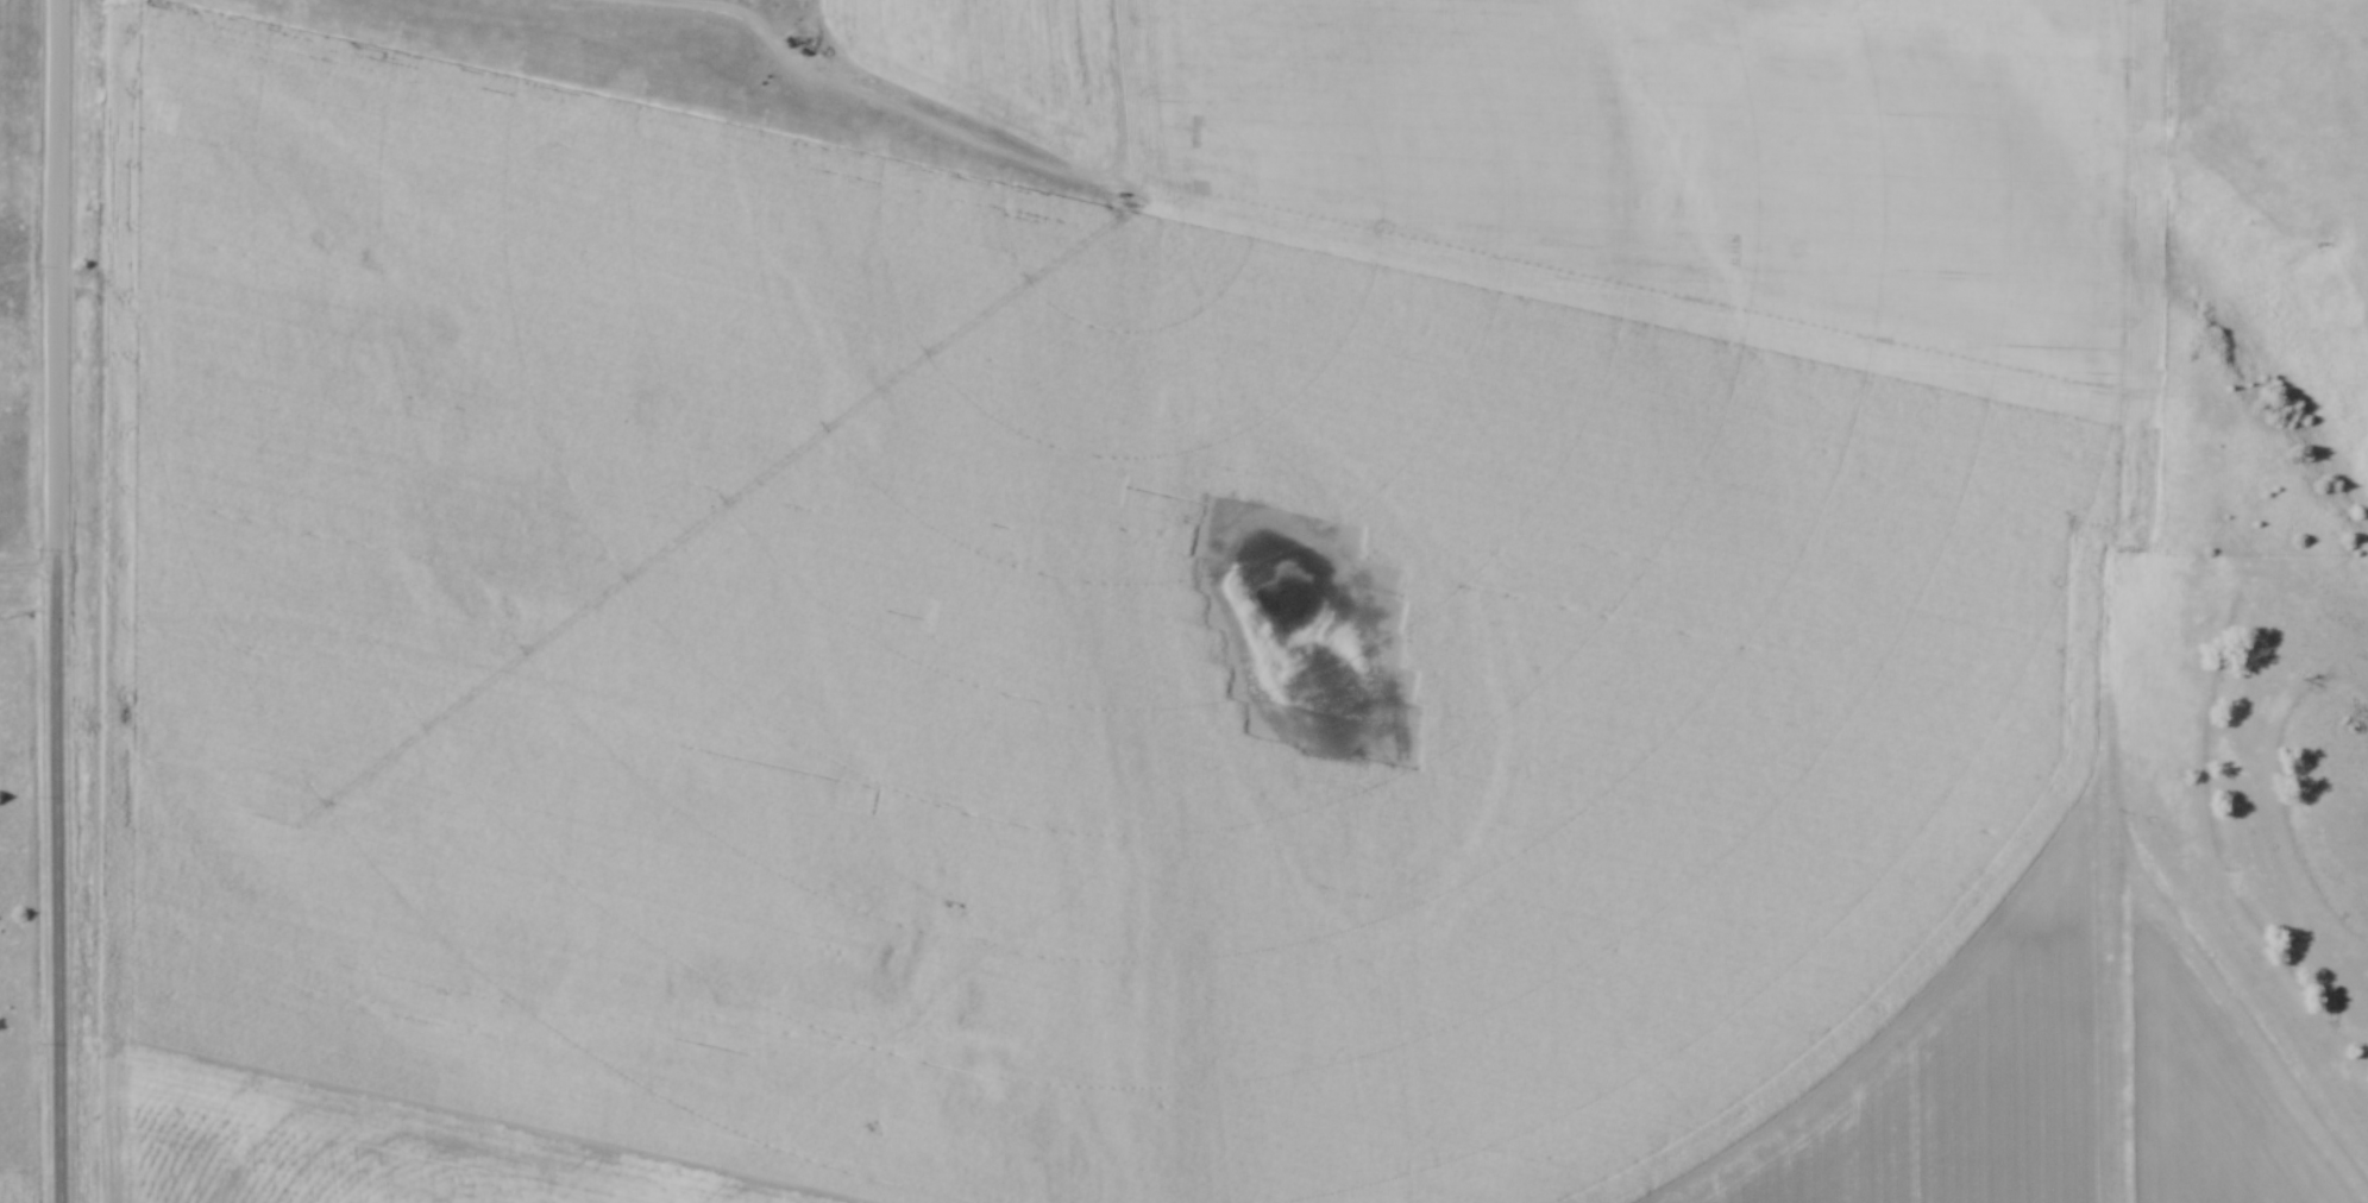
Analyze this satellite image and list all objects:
road: (58, 282)
road: (58, 884)

